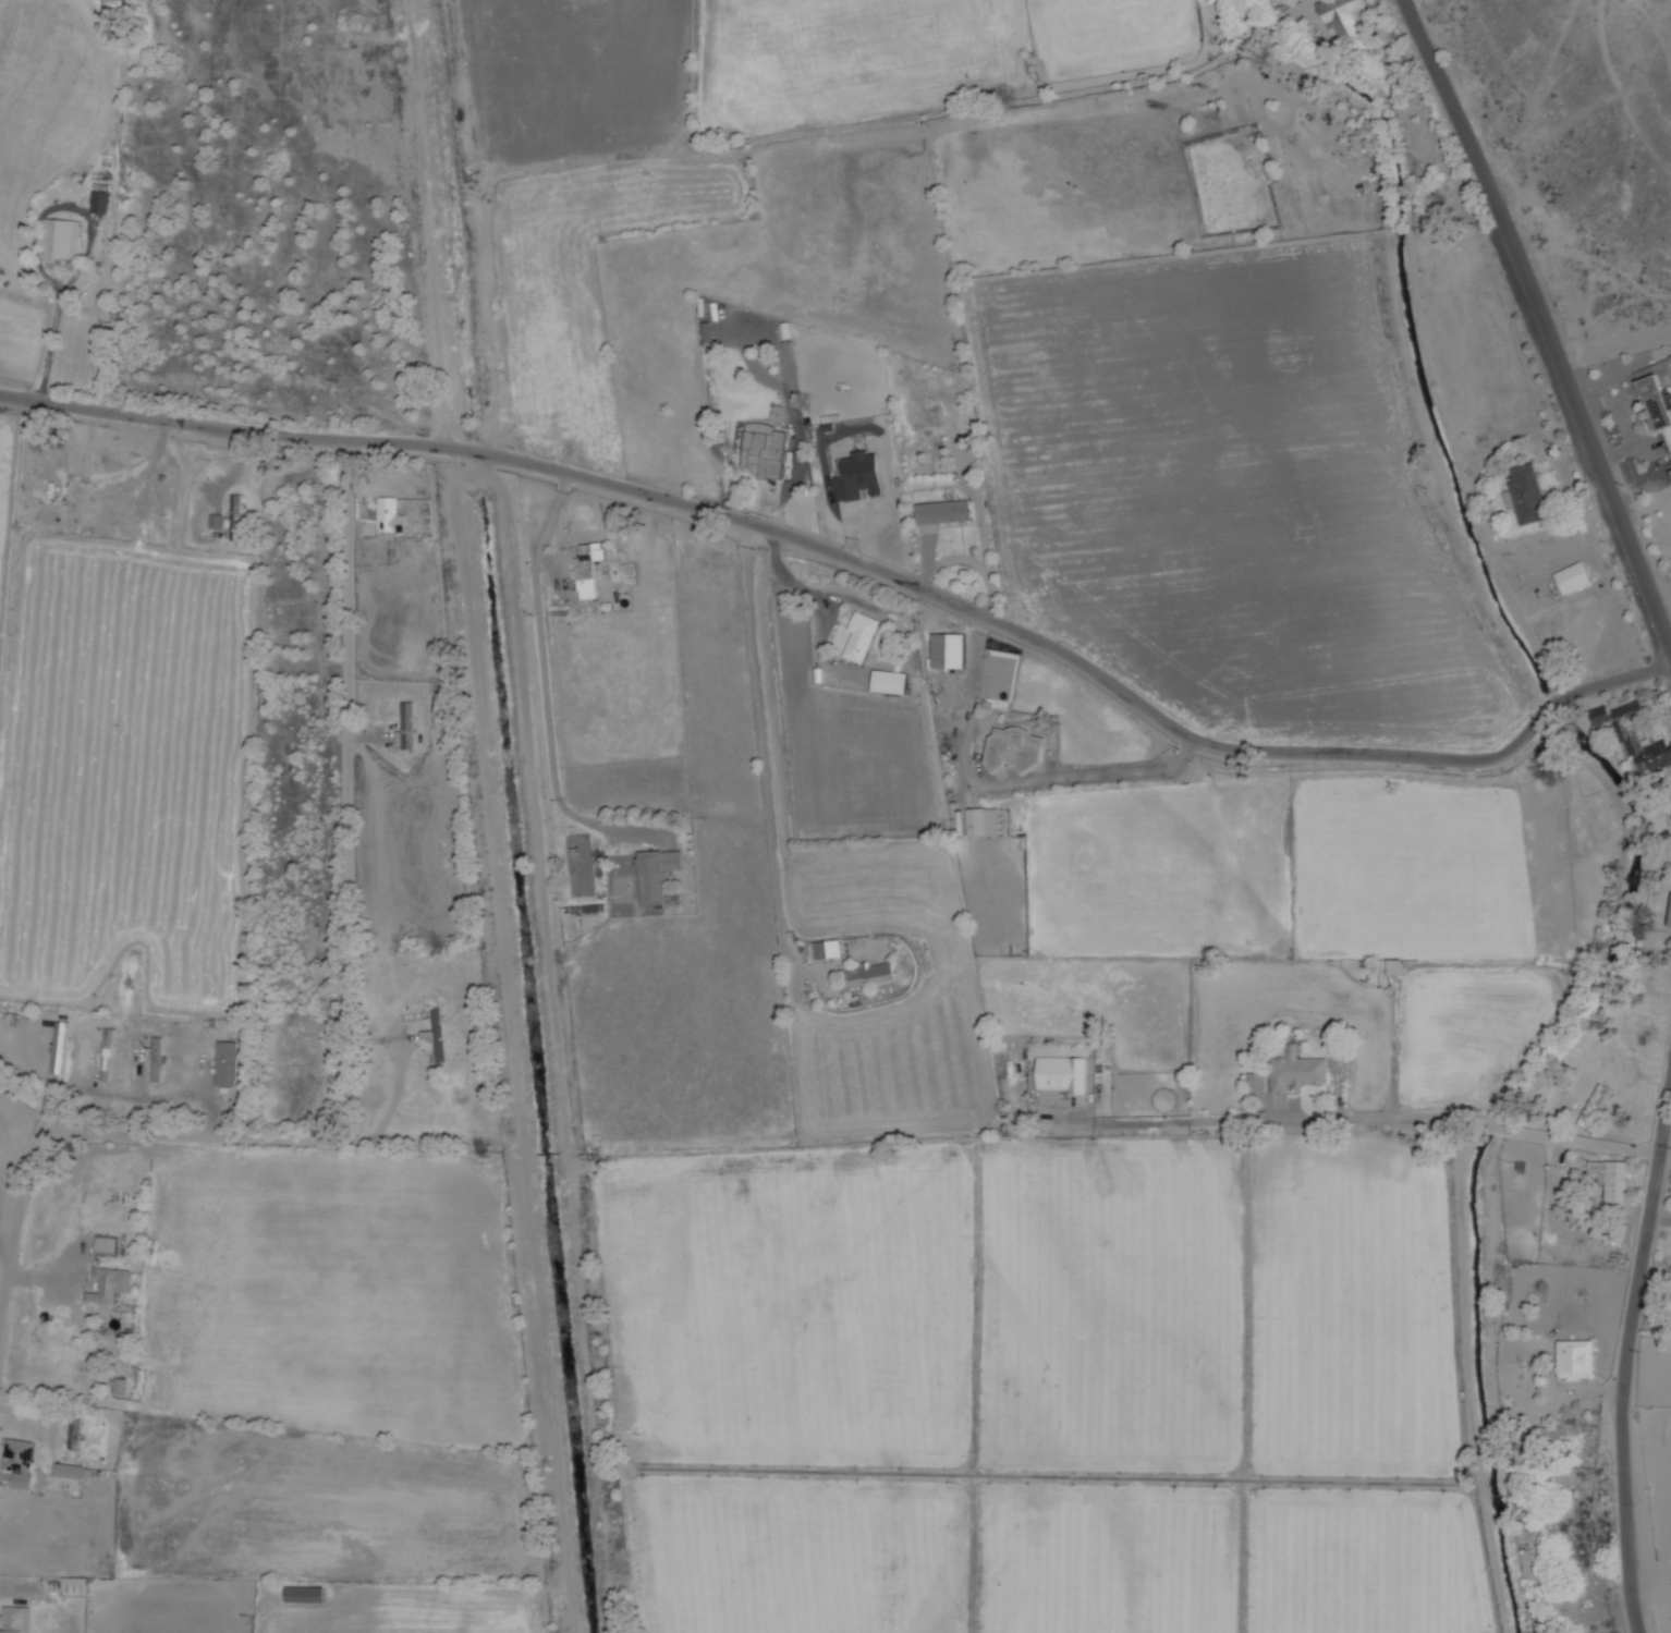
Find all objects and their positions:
building: (1346, 20)
building: (100, 203)
building: (61, 240)
road: (1549, 315)
building: (1659, 403)
building: (766, 449)
building: (1526, 493)
building: (946, 512)
building: (237, 516)
building: (391, 516)
road: (863, 562)
building: (588, 572)
building: (1573, 578)
building: (862, 636)
building: (948, 650)
building: (891, 682)
road: (548, 690)
building: (1600, 716)
building: (407, 728)
building: (1640, 743)
road: (765, 746)
building: (1015, 750)
building: (980, 821)
building: (658, 876)
building: (1670, 924)
building: (1636, 941)
building: (828, 950)
building: (873, 975)
building: (439, 1037)
road: (353, 1039)
building: (60, 1048)
building: (109, 1057)
building: (157, 1060)
building: (228, 1065)
building: (1298, 1072)
building: (1064, 1074)
building: (1257, 1083)
building: (1596, 1106)
road: (1386, 1119)
building: (1613, 1181)
building: (108, 1246)
building: (111, 1285)
building: (1578, 1361)
road: (1627, 1367)
building: (75, 1431)
building: (20, 1455)
building: (69, 1472)
building: (306, 1594)
building: (16, 1620)

